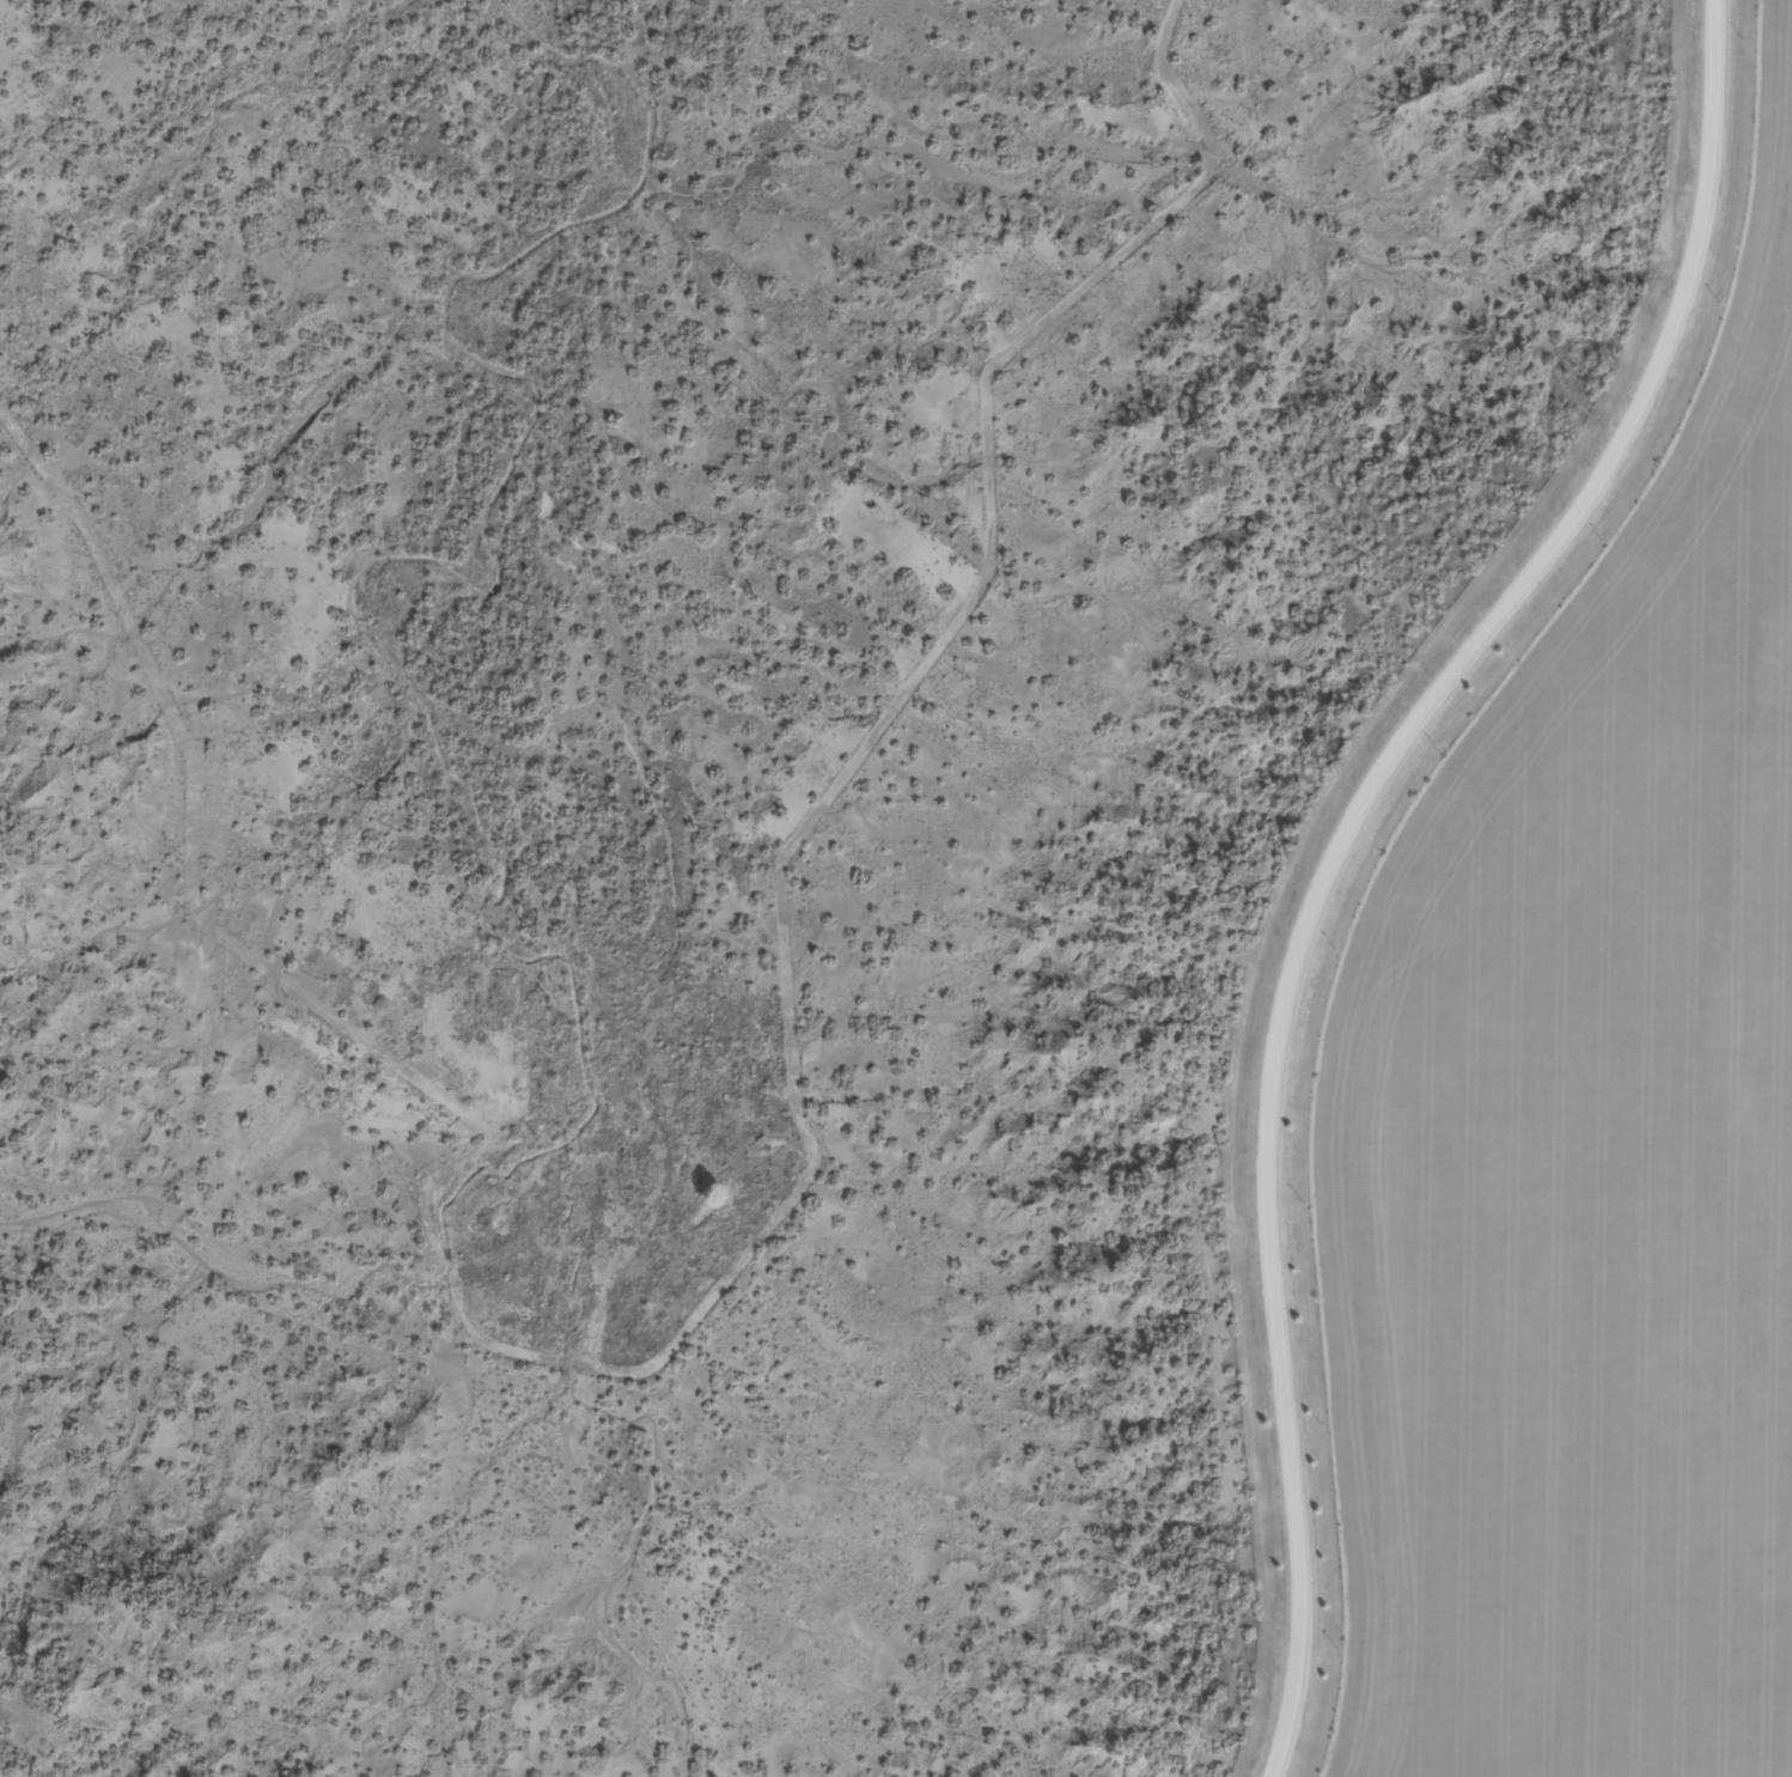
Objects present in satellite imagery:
road: (1341, 842)

